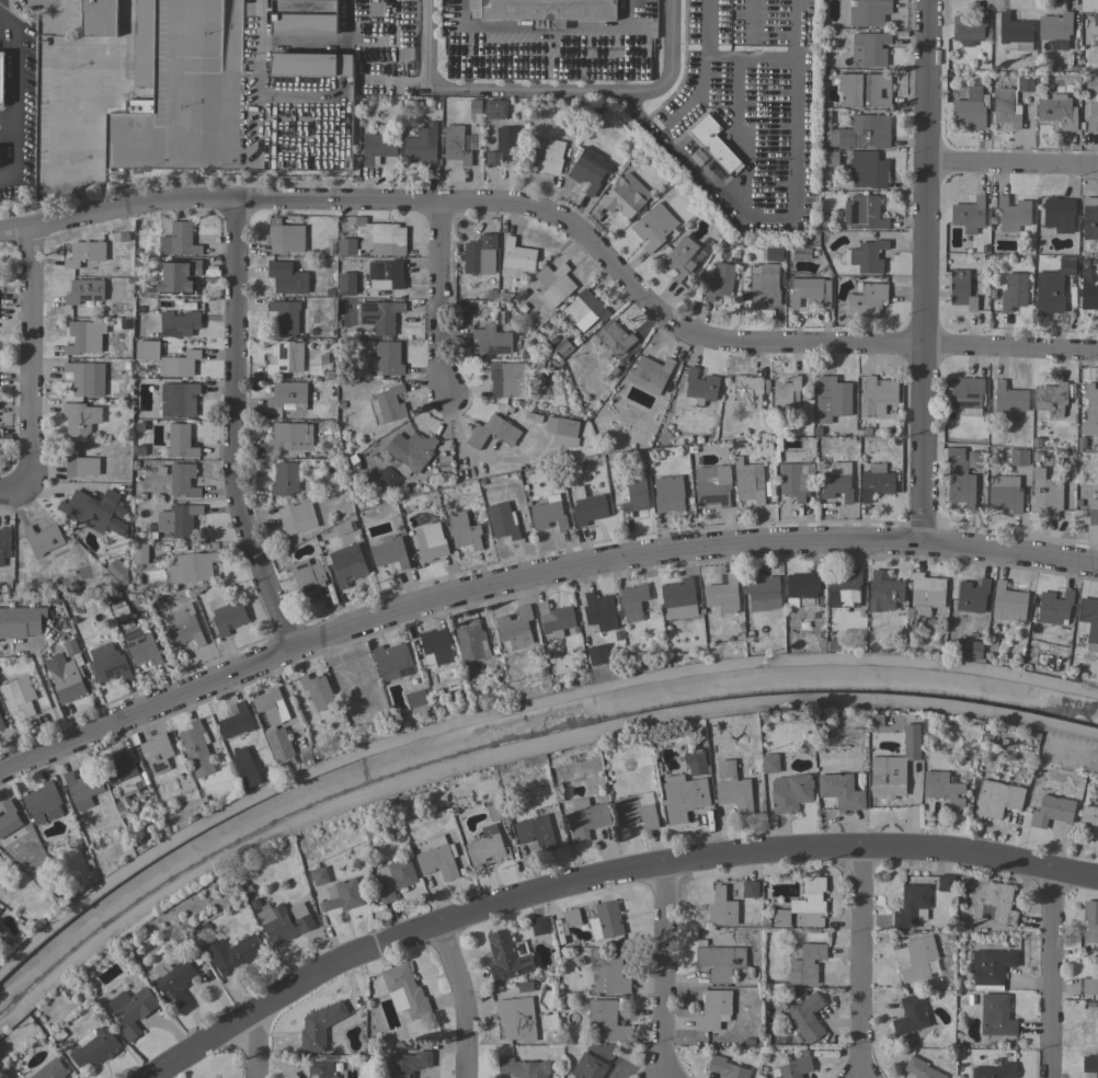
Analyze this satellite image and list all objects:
building: (544, 11)
building: (869, 12)
road: (2, 15)
building: (99, 18)
building: (304, 18)
building: (1096, 19)
building: (969, 28)
building: (1055, 30)
road: (10, 32)
building: (1015, 33)
road: (8, 43)
building: (144, 43)
road: (430, 43)
road: (390, 44)
building: (869, 49)
road: (751, 57)
road: (704, 62)
building: (311, 64)
road: (549, 64)
building: (1, 76)
road: (218, 87)
road: (529, 88)
building: (863, 90)
building: (1009, 102)
building: (226, 107)
building: (495, 108)
building: (970, 110)
building: (1057, 111)
road: (13, 115)
building: (1091, 116)
building: (856, 131)
road: (740, 133)
building: (457, 144)
building: (713, 144)
building: (421, 146)
building: (501, 146)
building: (376, 147)
road: (322, 156)
building: (548, 157)
building: (830, 159)
road: (1011, 165)
building: (588, 169)
building: (868, 169)
building: (625, 196)
road: (732, 202)
building: (863, 213)
building: (1013, 214)
building: (968, 215)
building: (1059, 215)
building: (1090, 221)
road: (564, 226)
building: (648, 231)
building: (285, 237)
building: (382, 238)
building: (179, 240)
building: (347, 245)
building: (84, 253)
building: (478, 253)
building: (773, 253)
building: (801, 253)
building: (866, 256)
building: (680, 257)
building: (516, 259)
road: (924, 273)
building: (385, 275)
building: (287, 277)
building: (178, 278)
building: (719, 279)
building: (135, 282)
building: (554, 285)
building: (764, 285)
building: (1052, 287)
building: (1088, 288)
building: (961, 289)
building: (809, 290)
building: (1014, 291)
building: (85, 293)
road: (438, 297)
building: (867, 300)
building: (581, 310)
building: (285, 316)
building: (385, 317)
building: (602, 318)
building: (179, 323)
building: (79, 337)
building: (614, 339)
building: (491, 340)
building: (562, 347)
building: (284, 356)
building: (386, 358)
building: (167, 359)
road: (26, 360)
building: (649, 375)
building: (85, 378)
building: (507, 379)
building: (699, 389)
building: (751, 391)
building: (965, 392)
building: (288, 395)
building: (833, 395)
building: (877, 395)
building: (786, 397)
building: (1050, 398)
building: (178, 399)
building: (1009, 401)
building: (388, 403)
building: (1090, 409)
building: (80, 418)
road: (230, 427)
building: (562, 428)
building: (492, 433)
building: (290, 436)
building: (180, 441)
building: (409, 451)
building: (1017, 457)
building: (975, 459)
building: (1051, 459)
building: (445, 461)
building: (79, 463)
building: (388, 478)
building: (286, 479)
building: (182, 480)
building: (796, 480)
building: (747, 481)
building: (877, 481)
building: (959, 481)
building: (836, 482)
building: (712, 485)
building: (1004, 493)
building: (668, 494)
building: (1045, 494)
road: (12, 495)
building: (634, 495)
building: (588, 509)
building: (1094, 509)
building: (94, 511)
building: (548, 515)
building: (294, 516)
building: (178, 520)
building: (503, 520)
building: (344, 527)
building: (464, 530)
building: (44, 541)
building: (433, 542)
building: (4, 544)
building: (389, 552)
building: (139, 553)
building: (346, 564)
building: (192, 567)
building: (117, 571)
road: (531, 574)
building: (308, 577)
building: (803, 586)
building: (844, 588)
building: (927, 588)
building: (762, 593)
building: (883, 593)
building: (722, 595)
building: (972, 596)
building: (678, 599)
building: (632, 601)
building: (1008, 603)
building: (1054, 608)
building: (119, 610)
building: (601, 611)
building: (226, 615)
building: (556, 619)
building: (1089, 621)
building: (20, 622)
building: (183, 628)
building: (515, 628)
building: (471, 642)
building: (70, 646)
building: (140, 646)
building: (435, 646)
building: (968, 649)
building: (596, 654)
building: (392, 662)
building: (107, 663)
building: (64, 678)
building: (317, 691)
road: (48, 698)
building: (416, 699)
building: (15, 700)
building: (878, 721)
building: (236, 722)
building: (1, 724)
building: (270, 727)
building: (196, 749)
building: (157, 753)
building: (695, 761)
building: (769, 764)
building: (894, 766)
building: (245, 767)
building: (123, 771)
building: (82, 788)
building: (733, 789)
building: (943, 790)
building: (840, 791)
building: (790, 792)
building: (684, 798)
building: (996, 799)
building: (43, 802)
building: (496, 811)
building: (1052, 811)
building: (634, 812)
building: (8, 817)
building: (587, 818)
building: (1089, 819)
building: (536, 833)
building: (485, 845)
building: (437, 858)
building: (319, 876)
building: (393, 879)
road: (610, 880)
building: (946, 883)
building: (750, 890)
building: (342, 895)
building: (803, 902)
building: (998, 904)
building: (912, 906)
building: (722, 907)
building: (1, 913)
building: (571, 917)
building: (607, 919)
building: (284, 921)
building: (1090, 924)
building: (539, 926)
building: (125, 945)
building: (232, 954)
building: (507, 956)
building: (917, 959)
building: (720, 961)
building: (807, 964)
road: (857, 965)
building: (991, 968)
road: (665, 972)
building: (608, 973)
road: (1045, 977)
building: (173, 980)
building: (525, 986)
building: (1088, 987)
building: (404, 991)
road: (458, 1000)
building: (131, 1010)
building: (713, 1010)
building: (995, 1014)
building: (911, 1016)
building: (807, 1017)
building: (516, 1018)
building: (607, 1021)
building: (320, 1025)
building: (1090, 1025)
road: (261, 1044)
building: (94, 1046)
building: (405, 1064)
building: (1090, 1064)
building: (587, 1067)
building: (523, 1068)
building: (725, 1068)
building: (792, 1068)
building: (52, 1069)
building: (920, 1069)
building: (320, 1070)
building: (994, 1071)

